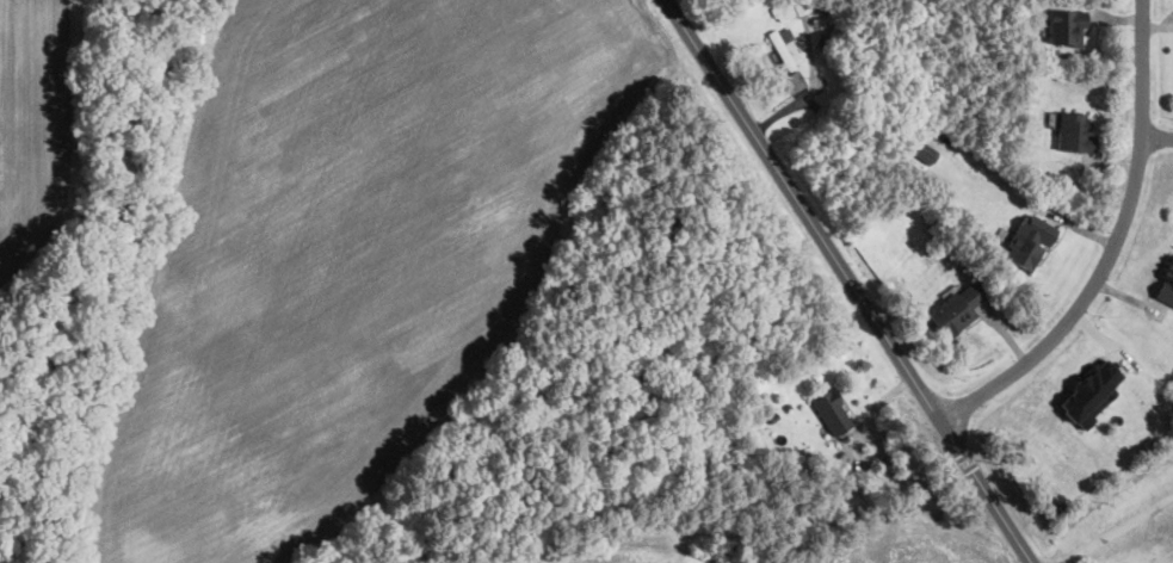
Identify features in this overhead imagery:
building: (1067, 26)
building: (1075, 131)
road: (1157, 134)
building: (927, 148)
building: (1029, 241)
road: (1113, 246)
road: (848, 280)
building: (1166, 283)
building: (956, 309)
building: (1091, 392)
building: (832, 413)
road: (1119, 531)

